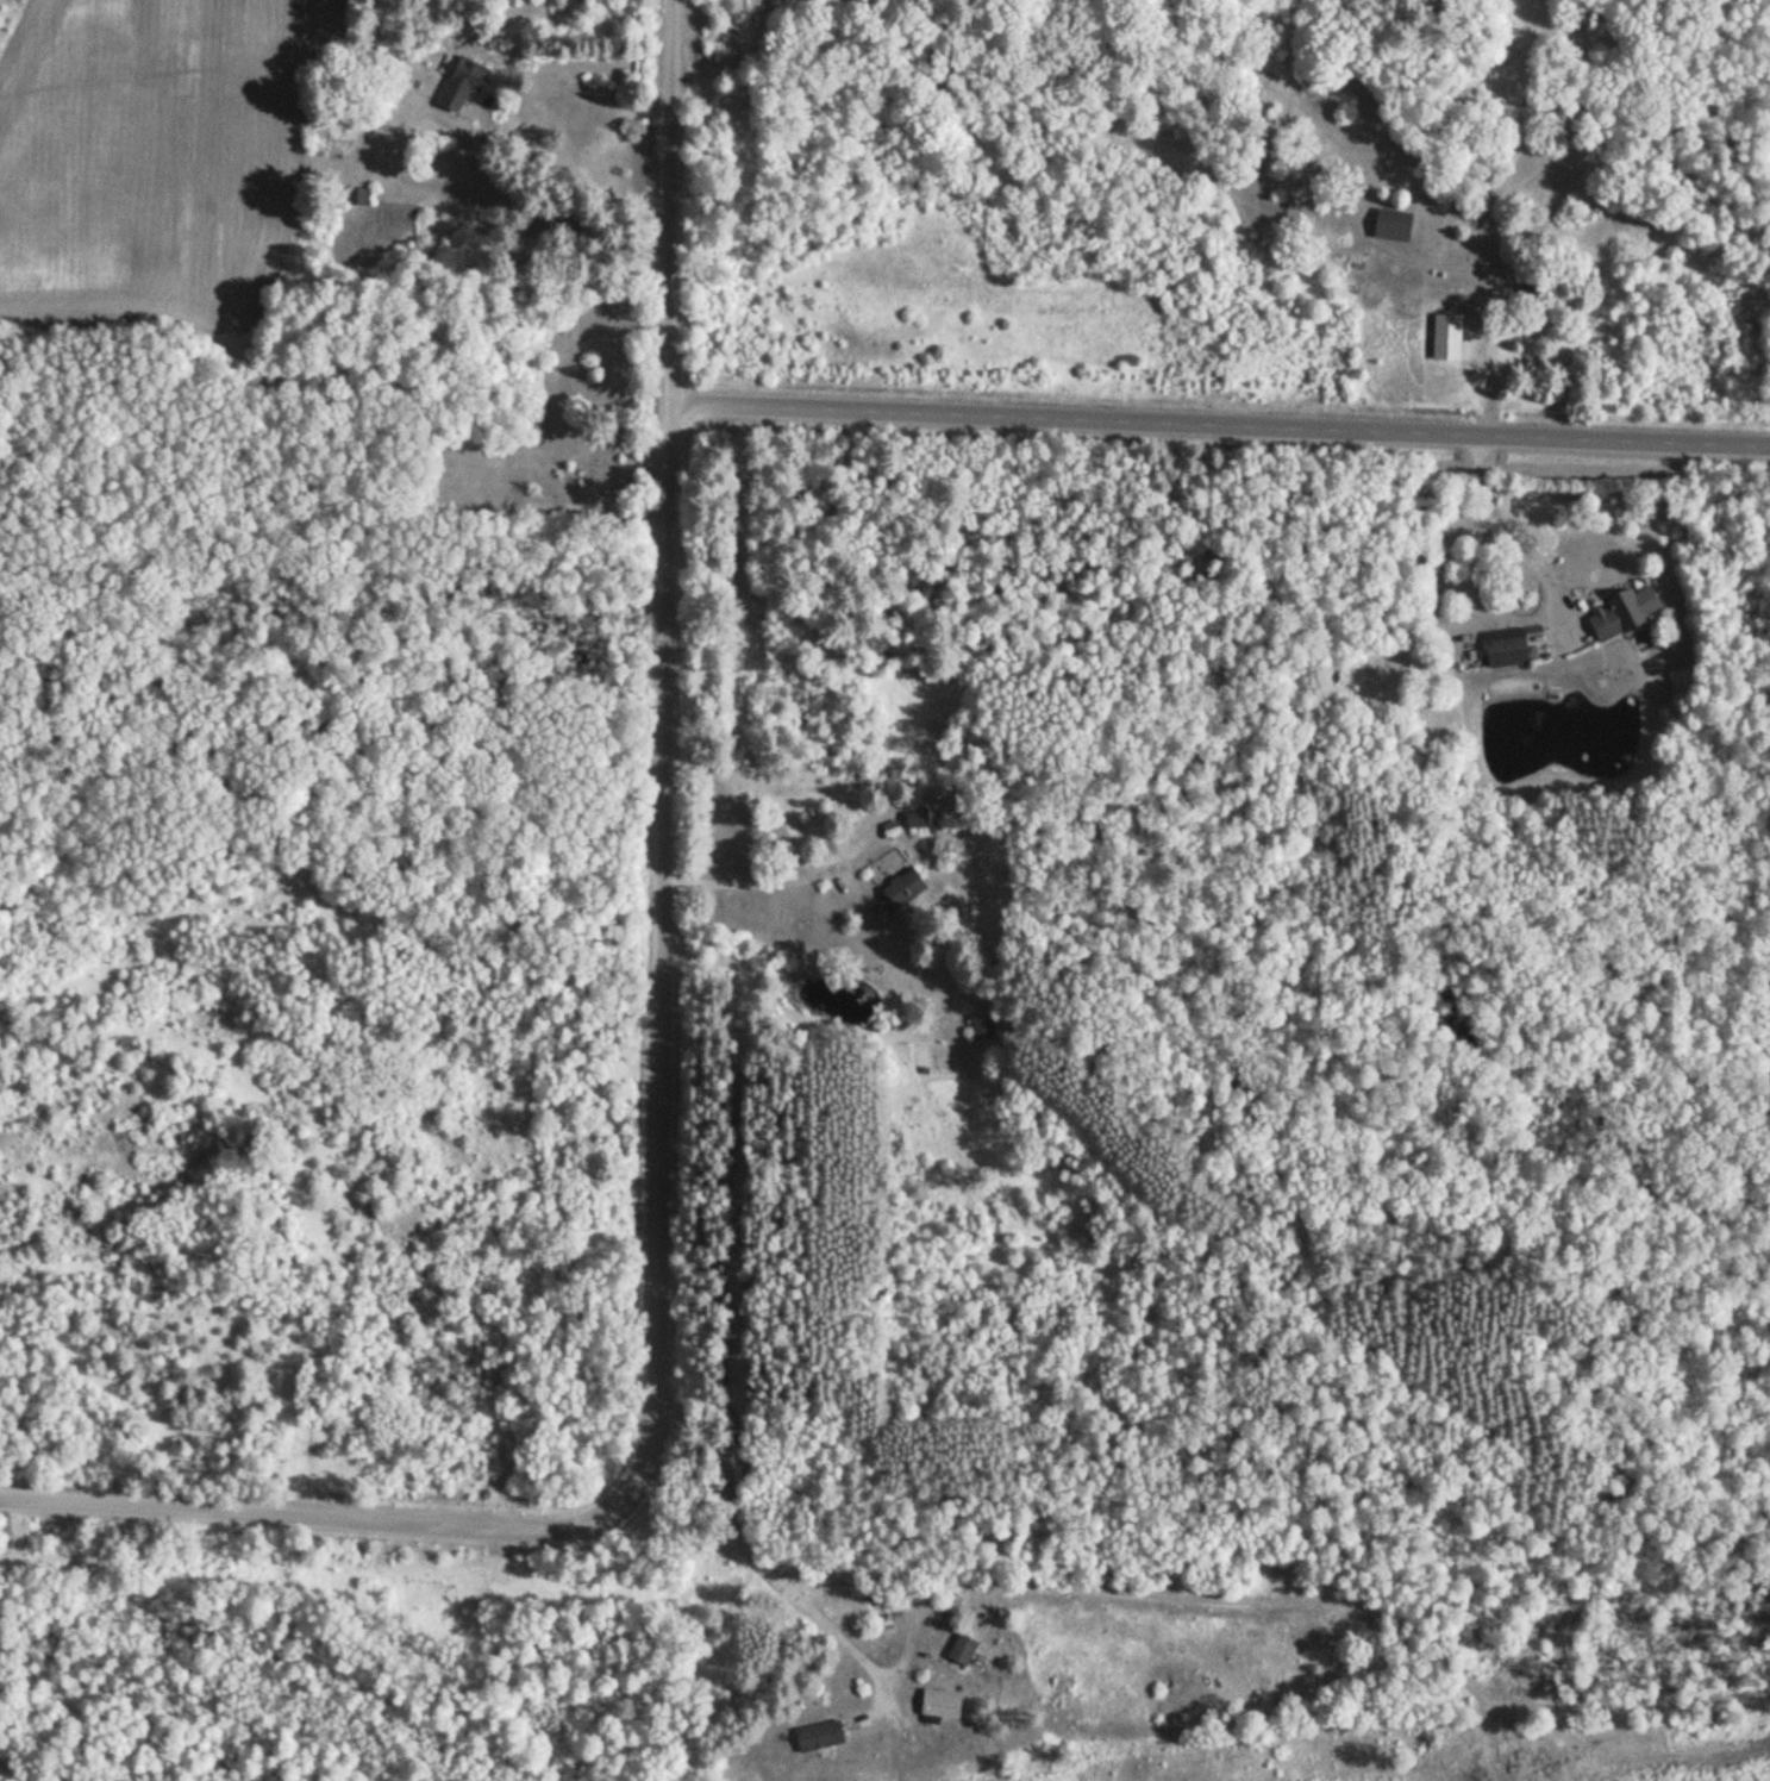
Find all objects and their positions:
building: (457, 85)
building: (356, 198)
building: (1387, 225)
building: (1459, 298)
road: (1218, 424)
park: (545, 427)
road: (1503, 535)
building: (1616, 612)
building: (1500, 649)
building: (909, 819)
road: (750, 883)
building: (896, 889)
building: (977, 1029)
road: (659, 1069)
road: (771, 1549)
building: (957, 1652)
building: (936, 1705)
building: (814, 1738)

